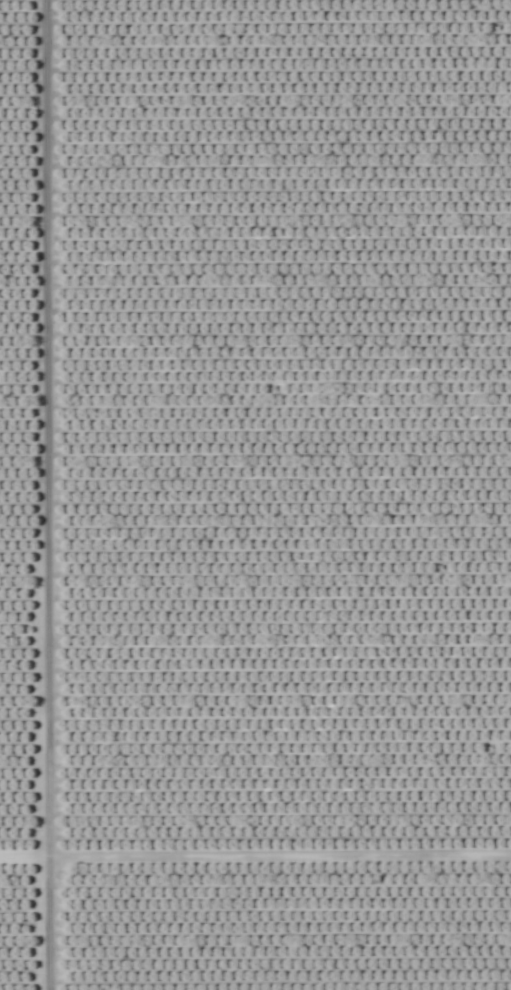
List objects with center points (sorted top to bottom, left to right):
road: (43, 495)
crop: (255, 495)
road: (255, 859)

